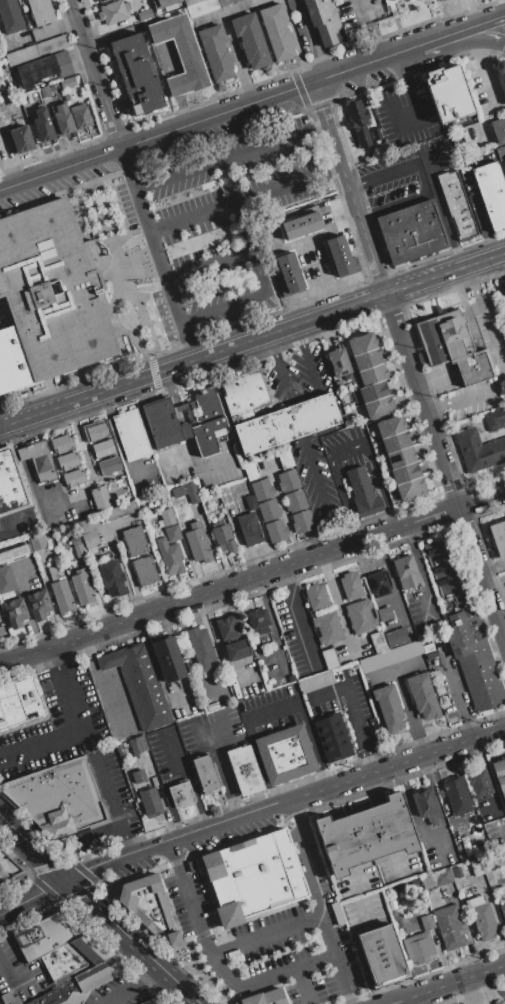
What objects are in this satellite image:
building: (441, 0)
building: (99, 1)
building: (388, 1)
building: (162, 3)
building: (204, 6)
road: (363, 10)
building: (40, 11)
building: (113, 12)
building: (144, 15)
building: (10, 16)
building: (323, 21)
road: (478, 24)
building: (276, 31)
road: (311, 38)
road: (375, 38)
building: (250, 40)
road: (433, 40)
road: (459, 45)
building: (36, 50)
road: (398, 51)
building: (180, 53)
building: (215, 53)
building: (62, 63)
road: (401, 67)
building: (35, 71)
building: (136, 73)
road: (482, 73)
building: (500, 73)
road: (96, 74)
building: (67, 82)
building: (52, 87)
building: (44, 91)
building: (447, 93)
building: (65, 96)
building: (35, 97)
road: (252, 103)
building: (80, 115)
building: (63, 119)
building: (358, 121)
building: (42, 124)
road: (417, 124)
building: (498, 129)
building: (377, 134)
building: (20, 140)
road: (230, 156)
building: (503, 166)
road: (331, 168)
road: (60, 169)
road: (423, 176)
parking lot: (55, 180)
road: (228, 180)
road: (353, 182)
building: (491, 193)
road: (235, 200)
parking lot: (222, 204)
building: (457, 204)
road: (437, 207)
road: (365, 214)
building: (301, 225)
road: (485, 226)
building: (411, 231)
road: (157, 255)
building: (340, 255)
road: (255, 270)
building: (290, 272)
building: (504, 284)
building: (50, 296)
road: (299, 336)
road: (252, 340)
road: (272, 346)
building: (452, 346)
building: (367, 358)
road: (408, 361)
road: (501, 361)
building: (338, 364)
road: (310, 368)
road: (282, 377)
building: (504, 391)
building: (347, 398)
building: (375, 399)
road: (323, 407)
building: (271, 413)
road: (295, 416)
building: (494, 419)
building: (162, 422)
building: (95, 430)
road: (316, 430)
building: (131, 434)
building: (61, 444)
road: (348, 446)
building: (103, 449)
building: (478, 451)
building: (400, 458)
building: (285, 459)
building: (38, 460)
building: (67, 461)
building: (109, 466)
building: (251, 471)
building: (73, 478)
building: (287, 480)
building: (11, 483)
building: (262, 490)
road: (320, 490)
building: (362, 492)
building: (191, 493)
road: (488, 496)
building: (100, 497)
building: (294, 501)
building: (250, 502)
building: (121, 510)
building: (268, 510)
building: (166, 517)
road: (9, 521)
building: (302, 522)
building: (248, 529)
building: (275, 530)
building: (172, 533)
building: (222, 537)
building: (498, 537)
building: (90, 541)
building: (135, 541)
building: (37, 542)
building: (196, 542)
building: (77, 547)
building: (15, 553)
building: (169, 557)
building: (144, 570)
road: (421, 571)
building: (405, 572)
building: (112, 578)
building: (6, 579)
road: (287, 580)
building: (379, 583)
road: (236, 584)
building: (350, 585)
building: (81, 587)
building: (61, 596)
building: (316, 597)
building: (39, 604)
building: (15, 612)
building: (360, 616)
building: (384, 618)
building: (406, 619)
building: (258, 621)
building: (228, 627)
building: (327, 627)
building: (465, 628)
road: (304, 630)
road: (37, 635)
building: (396, 637)
building: (377, 641)
building: (428, 647)
building: (202, 650)
building: (235, 650)
building: (430, 655)
building: (390, 656)
road: (59, 657)
building: (166, 657)
building: (329, 658)
building: (291, 678)
building: (315, 681)
building: (137, 683)
road: (98, 685)
road: (352, 695)
building: (422, 695)
building: (19, 702)
building: (388, 708)
road: (275, 712)
building: (323, 720)
road: (71, 733)
building: (328, 740)
building: (137, 745)
road: (314, 745)
parking lot: (73, 753)
building: (120, 753)
building: (284, 755)
road: (216, 757)
road: (373, 758)
road: (186, 766)
building: (243, 770)
building: (206, 773)
building: (137, 776)
building: (499, 776)
building: (479, 783)
road: (108, 789)
building: (181, 794)
building: (56, 795)
building: (456, 796)
road: (284, 800)
building: (150, 801)
road: (233, 805)
building: (424, 805)
road: (203, 814)
road: (295, 815)
road: (99, 833)
building: (365, 834)
road: (127, 839)
road: (33, 848)
road: (174, 857)
building: (6, 867)
road: (309, 874)
building: (256, 877)
building: (443, 877)
traffic signals: (67, 880)
building: (427, 882)
road: (33, 896)
building: (151, 908)
building: (503, 909)
building: (481, 917)
building: (427, 921)
building: (449, 926)
road: (262, 934)
road: (327, 934)
road: (196, 936)
road: (133, 942)
building: (419, 948)
building: (381, 954)
road: (298, 965)
building: (82, 974)
road: (7, 978)
road: (446, 983)
road: (302, 985)
road: (132, 986)
road: (346, 993)
building: (266, 997)
building: (152, 1001)
building: (499, 1002)

